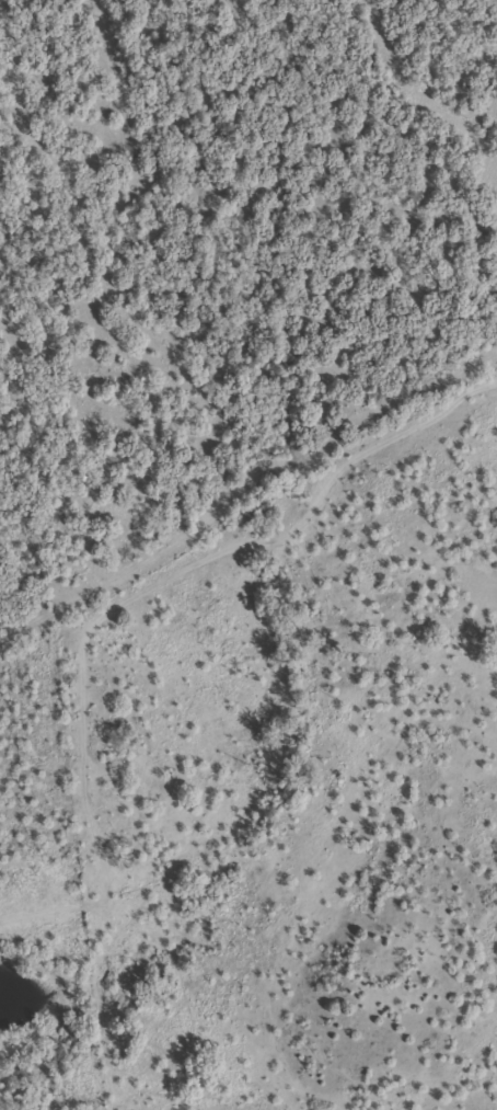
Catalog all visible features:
road: (141, 970)

